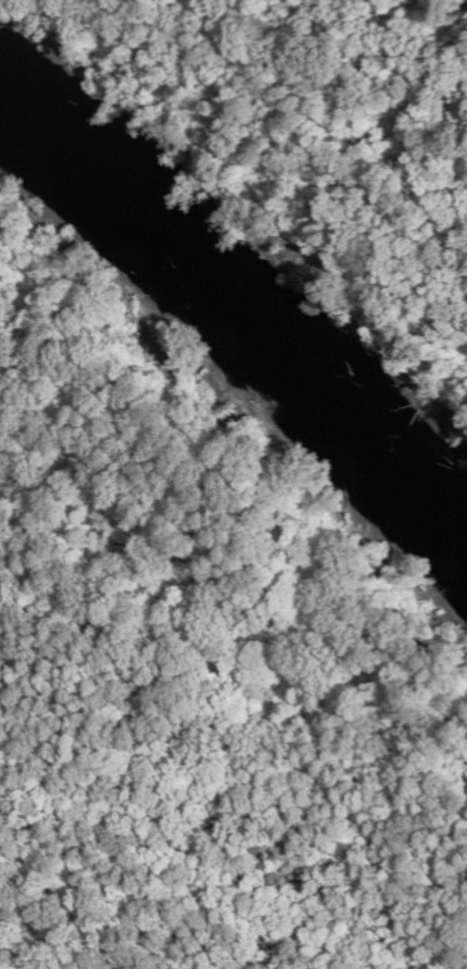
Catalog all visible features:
river: (242, 238)

